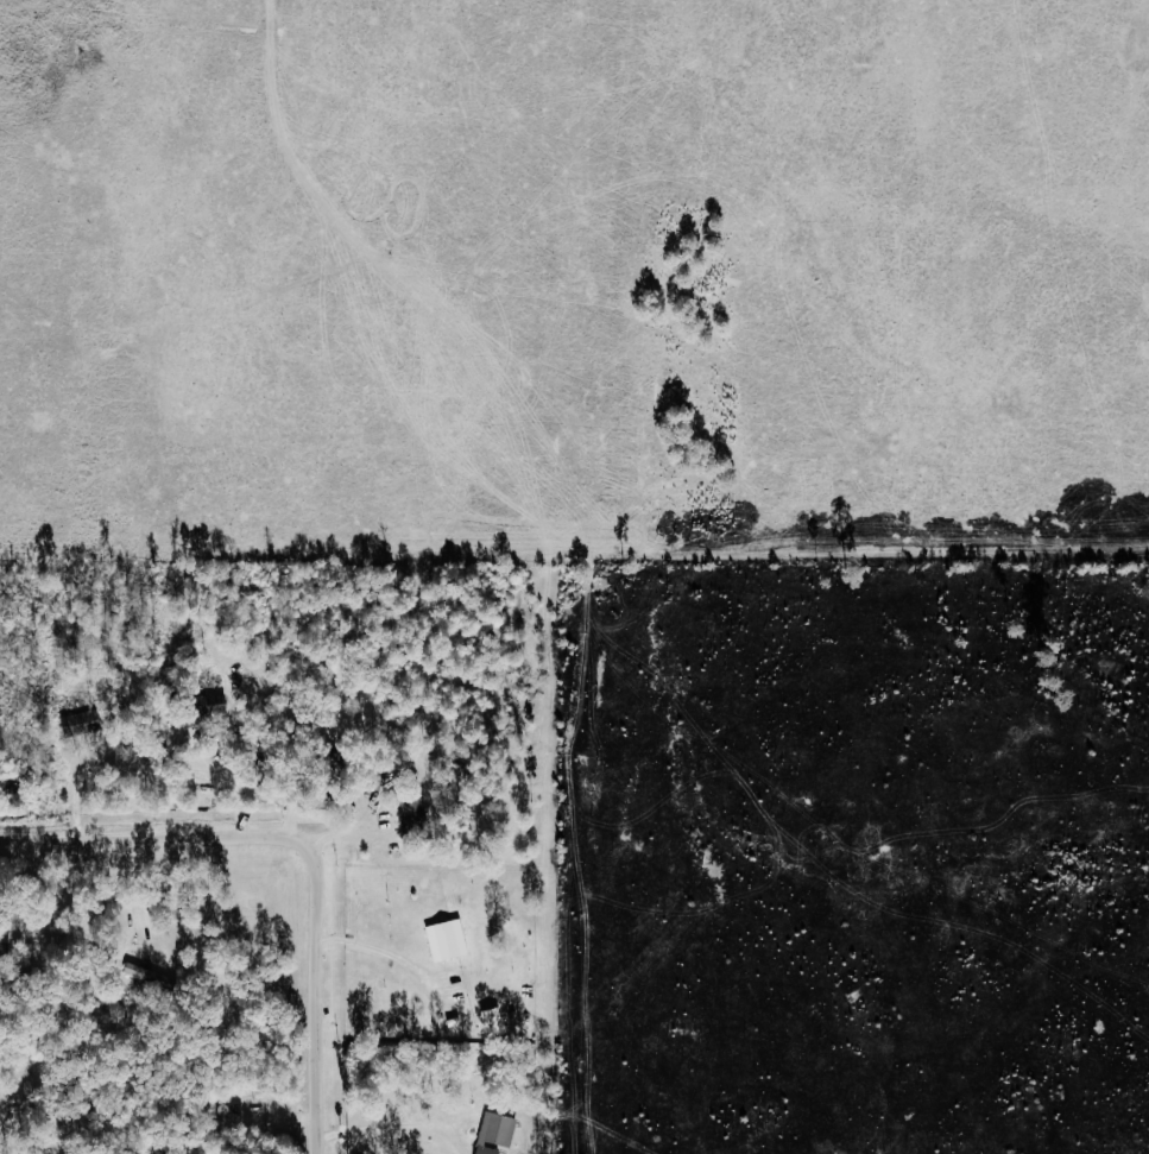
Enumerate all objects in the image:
building: (222, 705)
building: (417, 818)
road: (305, 847)
road: (138, 896)
building: (452, 941)
road: (385, 952)
building: (498, 1020)
road: (398, 1127)
building: (500, 1134)

